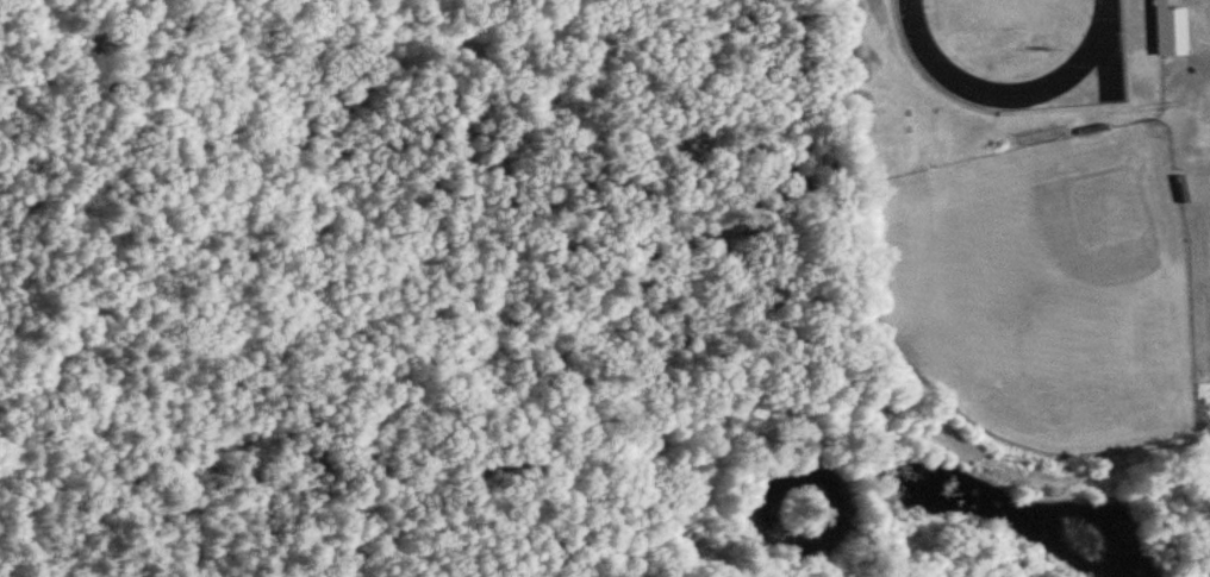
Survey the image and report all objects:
building: (1170, 32)
track: (1096, 54)
park: (1040, 290)

